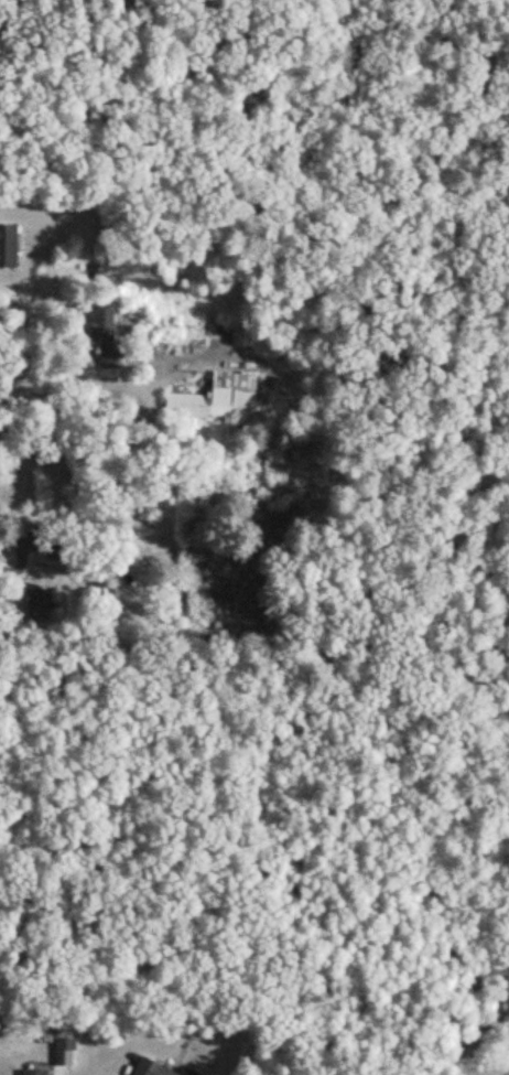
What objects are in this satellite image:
building: (4, 246)
building: (99, 320)
building: (215, 398)
road: (21, 557)
building: (63, 1051)
building: (153, 1068)
building: (30, 1072)

